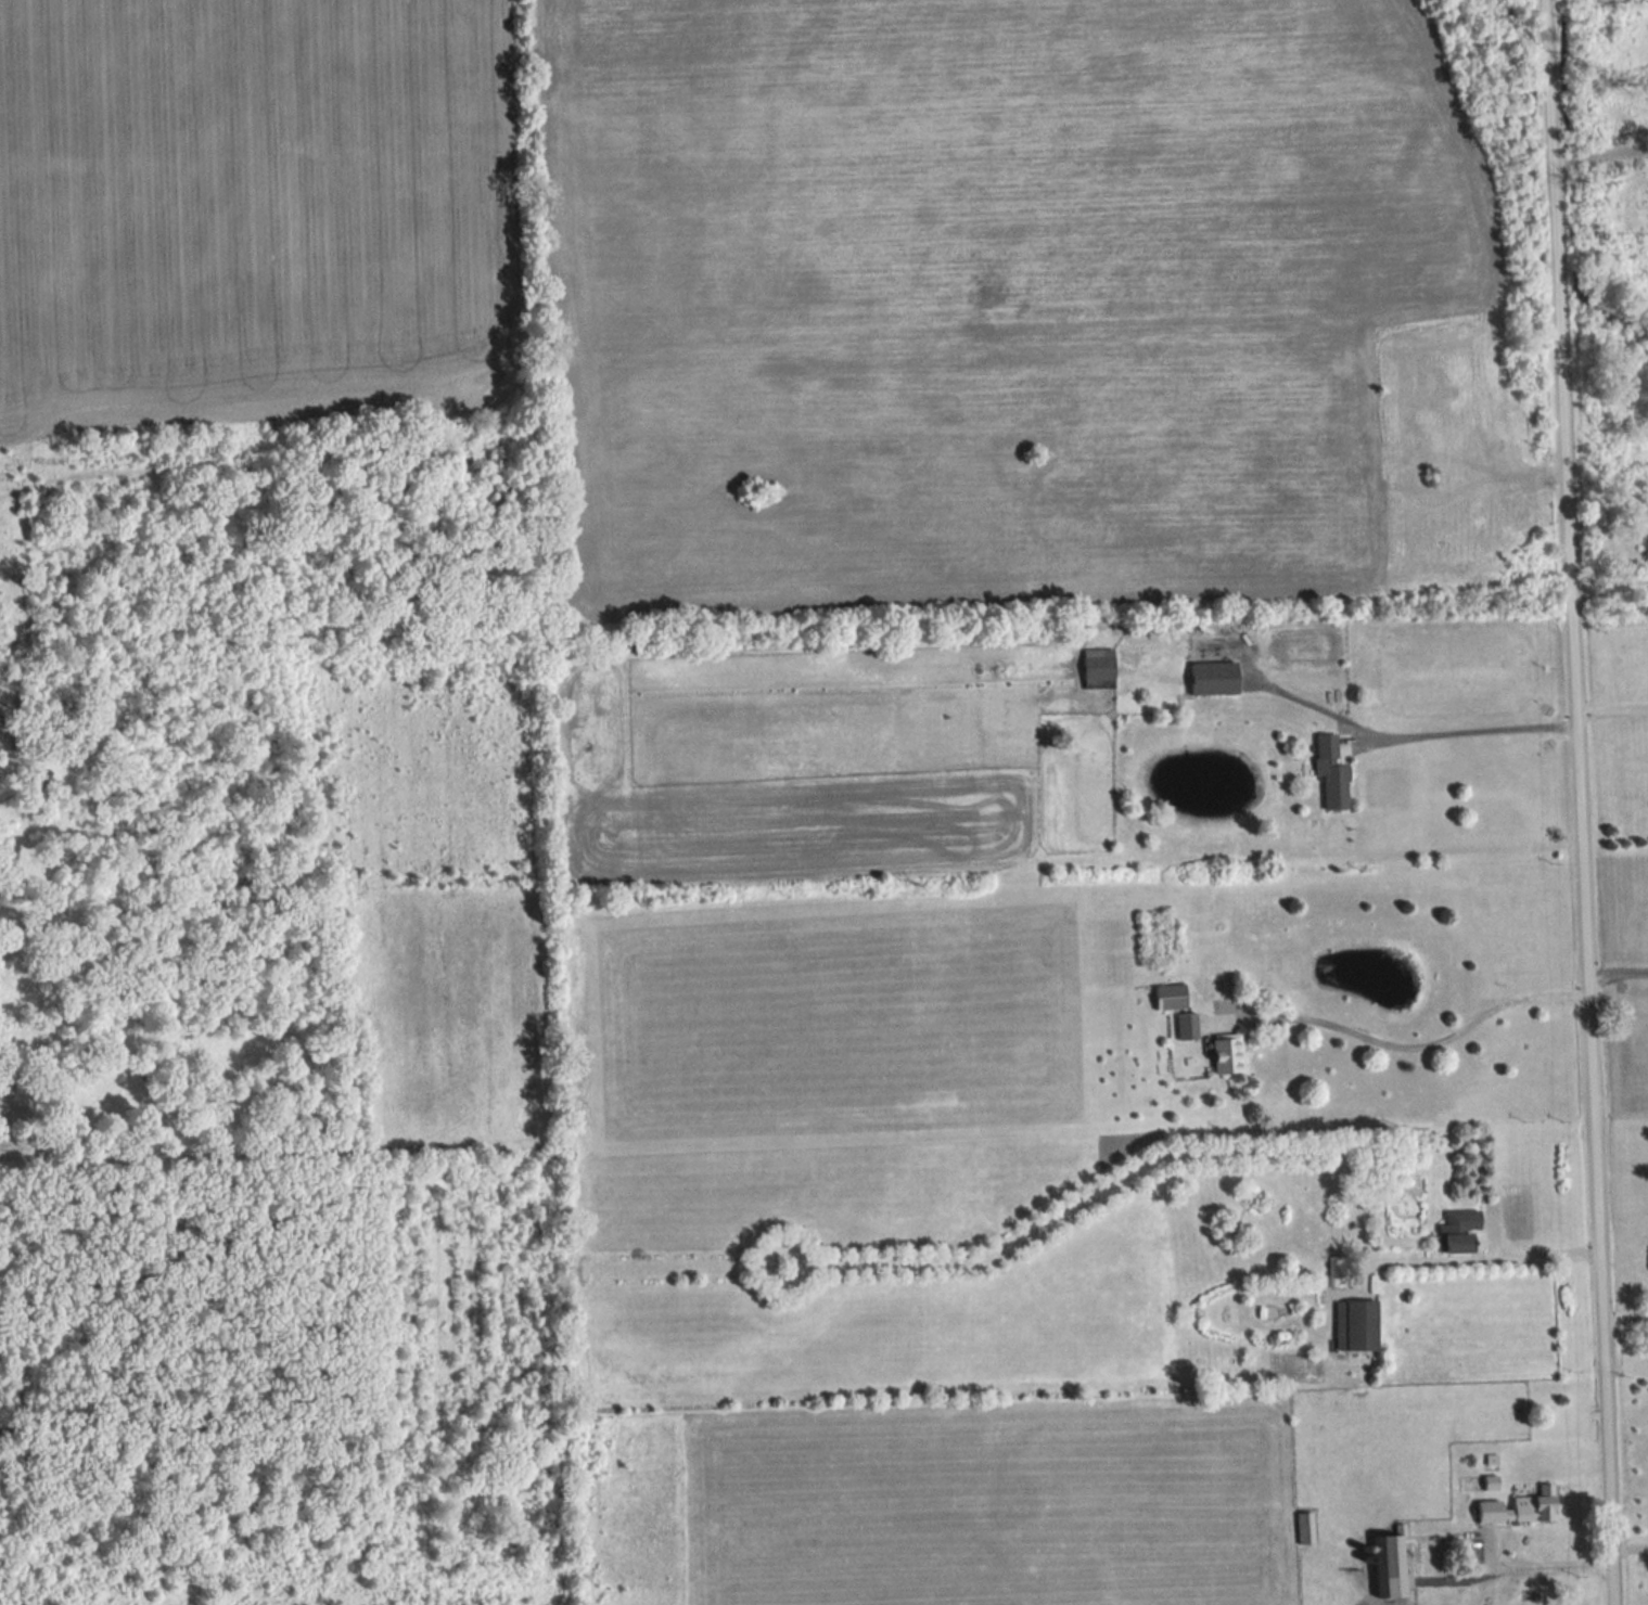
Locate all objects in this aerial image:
building: (1646, 551)
building: (1211, 679)
road: (1610, 707)
road: (1469, 730)
building: (1328, 772)
road: (1575, 802)
road: (1615, 970)
building: (1166, 998)
building: (1184, 1027)
road: (1419, 1044)
building: (1224, 1054)
building: (1454, 1232)
road: (1537, 1254)
building: (1334, 1271)
road: (1623, 1319)
building: (1354, 1327)
building: (1533, 1505)
building: (1486, 1511)
building: (1303, 1529)
road: (1628, 1548)
road: (1536, 1566)
building: (1385, 1567)

